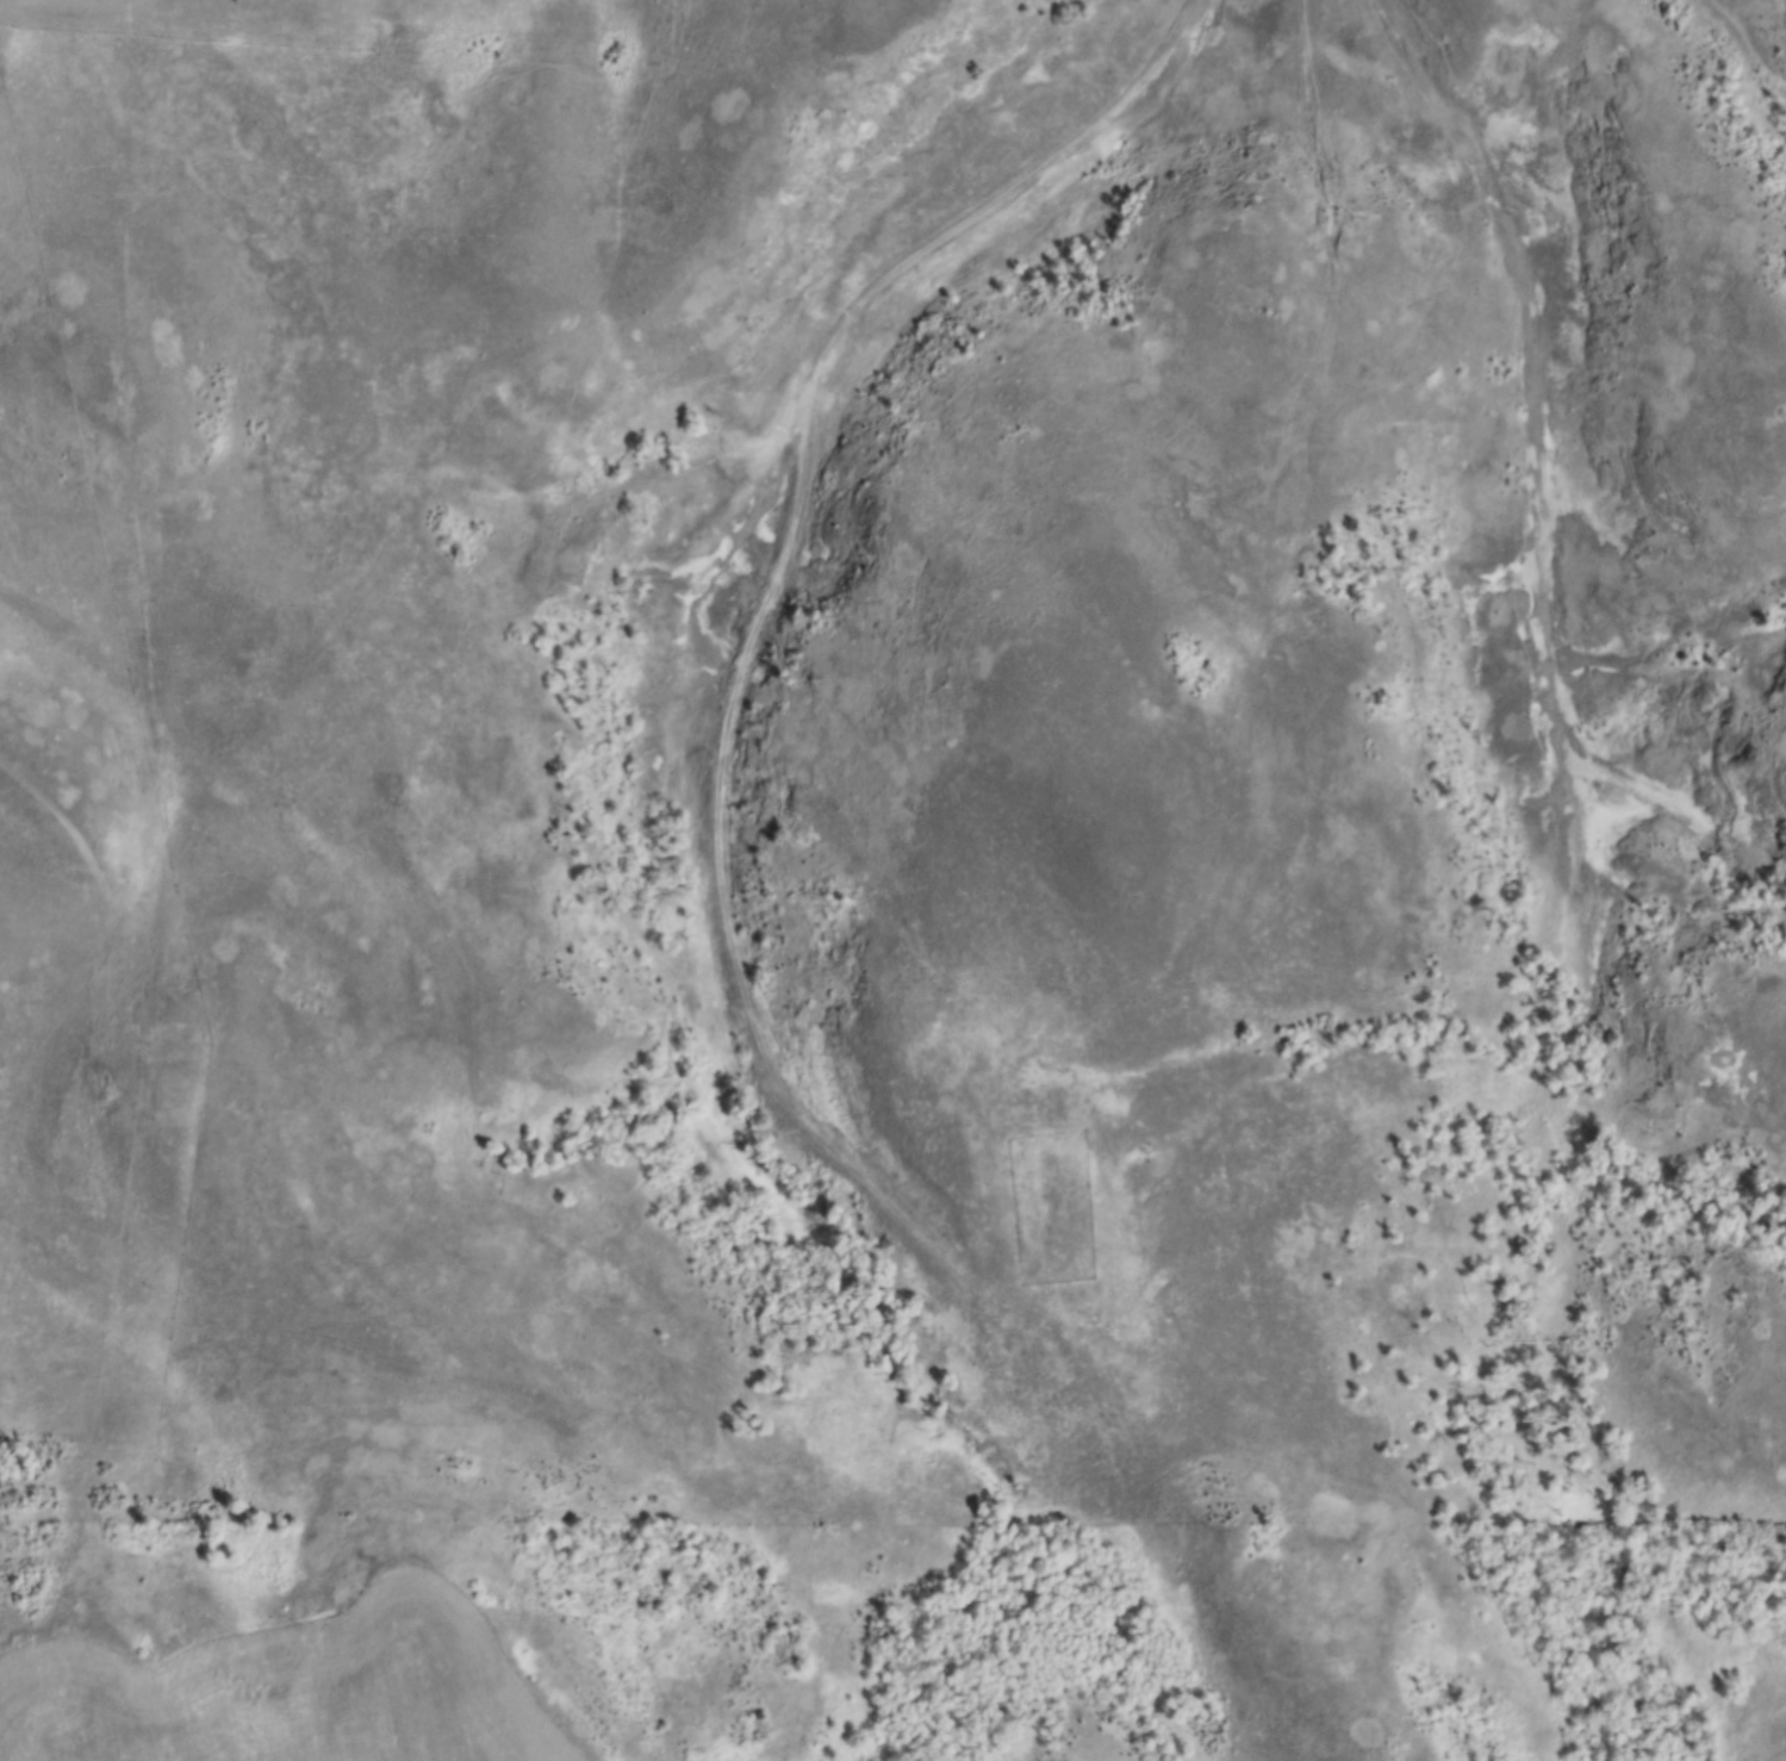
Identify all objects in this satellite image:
road: (1538, 460)
road: (782, 583)

